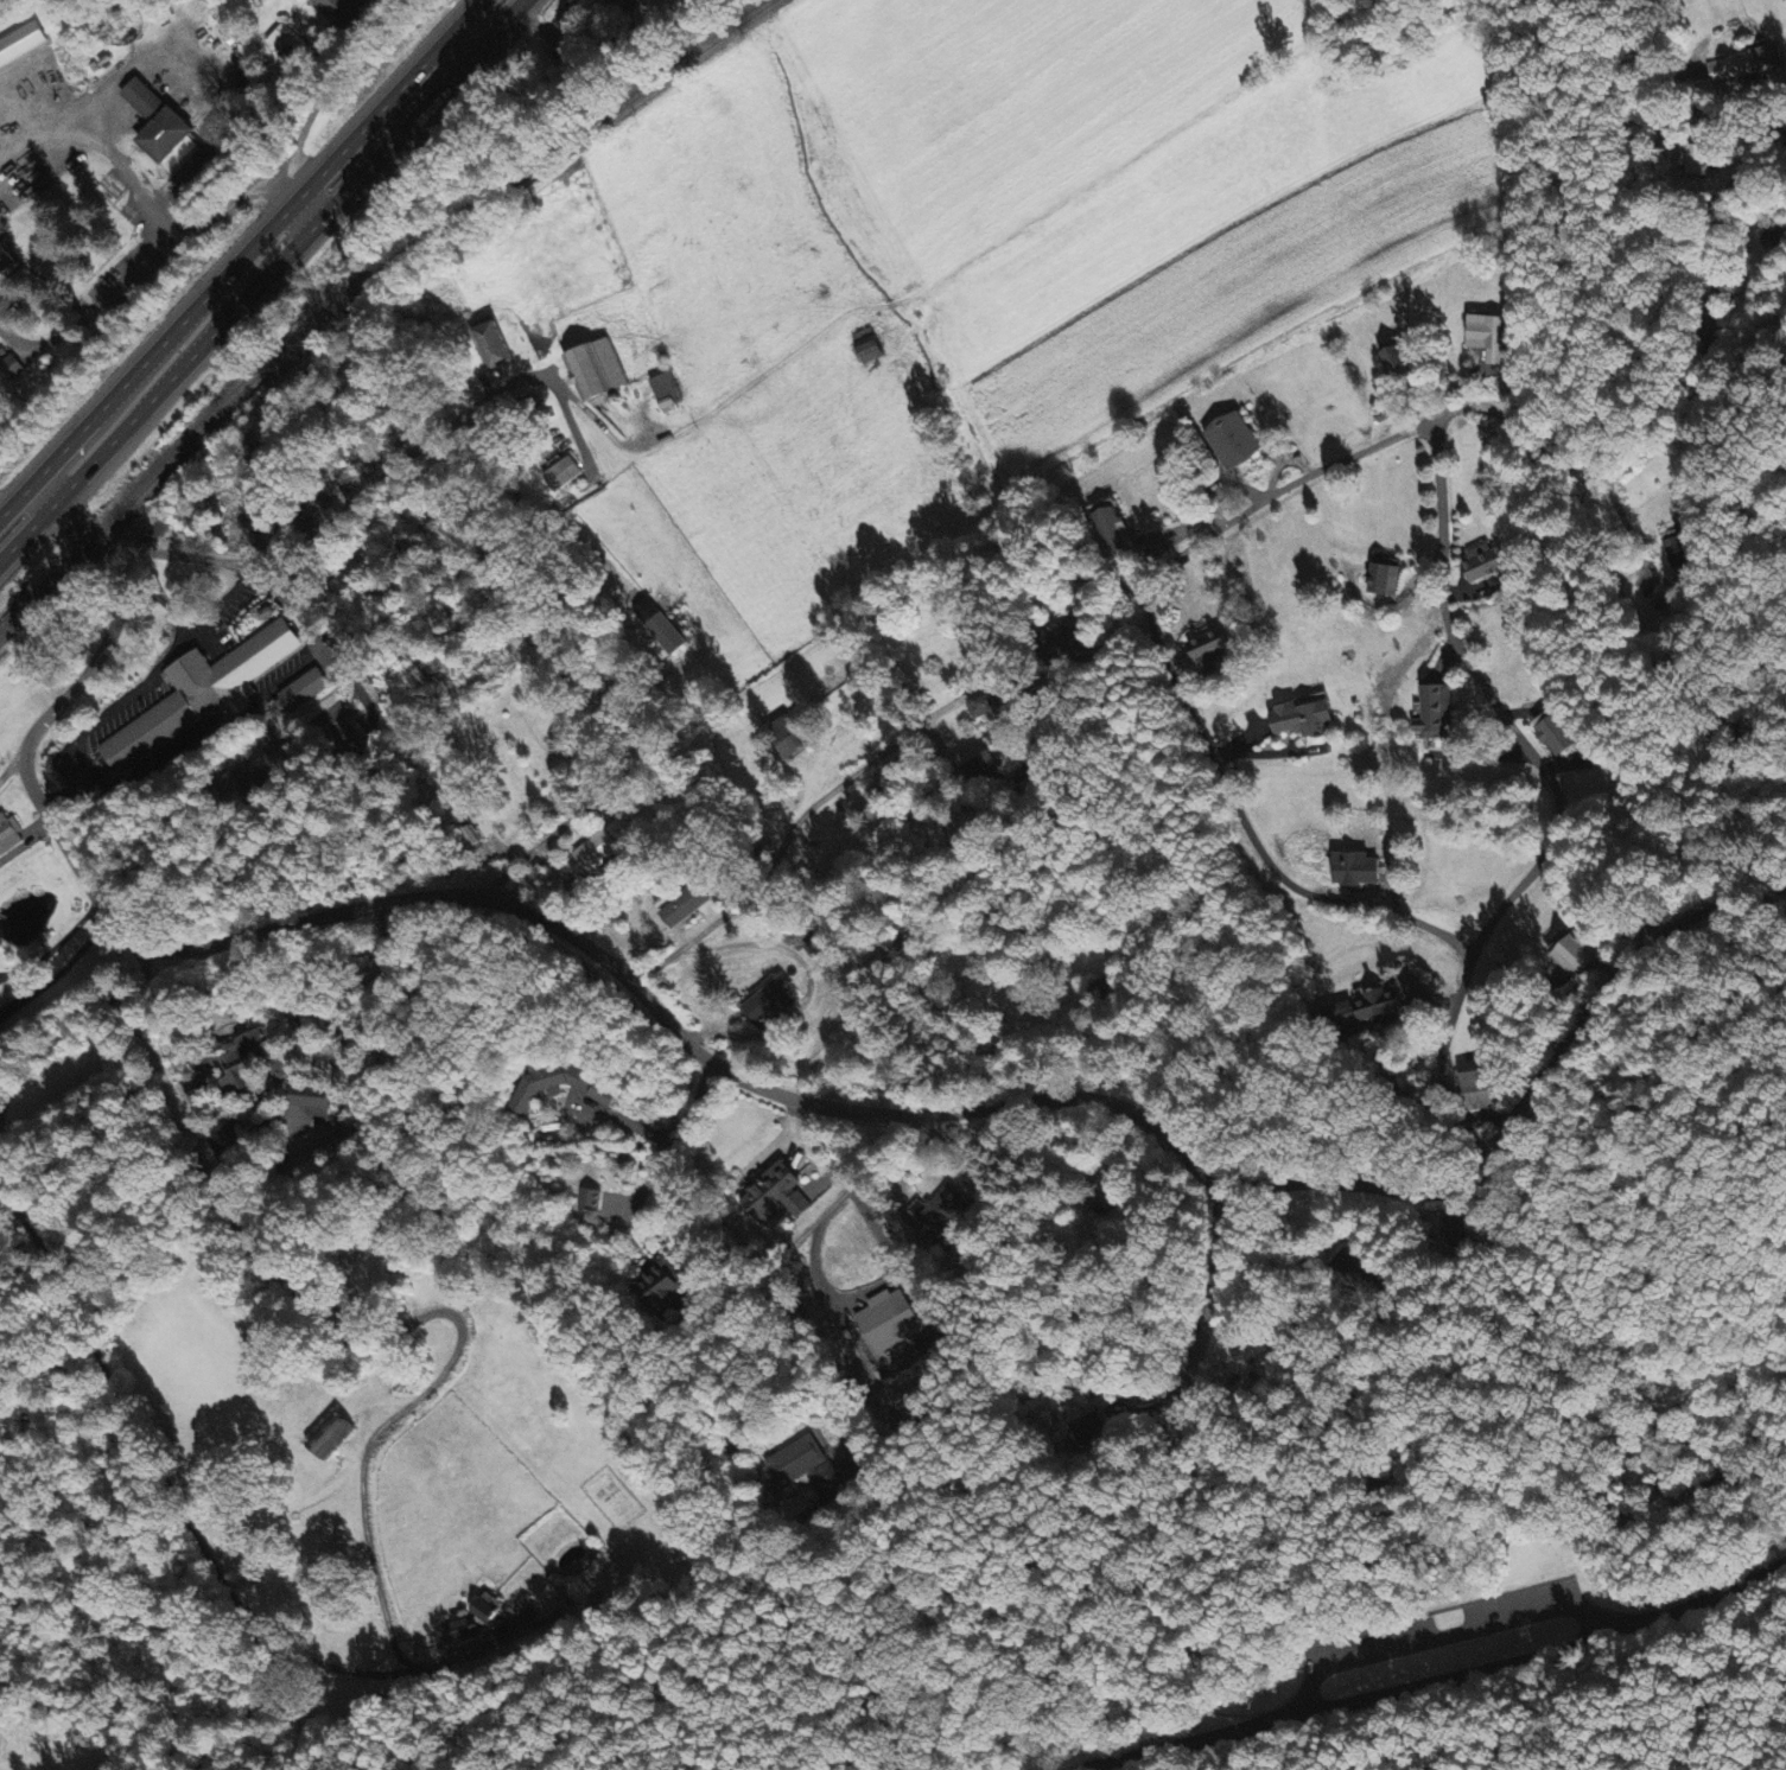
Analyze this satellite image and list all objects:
building: (298, 0)
building: (621, 4)
building: (332, 6)
building: (21, 45)
building: (287, 45)
building: (1743, 65)
building: (159, 125)
building: (1695, 163)
road: (1744, 165)
road: (163, 228)
road: (1699, 233)
road: (241, 259)
building: (6, 263)
road: (261, 280)
railway: (349, 294)
building: (1488, 338)
building: (494, 343)
building: (870, 346)
building: (1399, 362)
building: (598, 371)
building: (666, 391)
road: (1492, 406)
building: (1234, 441)
road: (406, 457)
building: (564, 475)
road: (2, 509)
road: (532, 511)
building: (1487, 564)
building: (1385, 580)
road: (117, 615)
building: (662, 628)
building: (1209, 647)
road: (1175, 680)
building: (205, 688)
building: (299, 688)
building: (991, 706)
building: (1436, 715)
building: (1305, 718)
building: (1556, 733)
building: (793, 734)
road: (11, 765)
building: (981, 768)
road: (1555, 792)
road: (789, 829)
building: (7, 830)
building: (602, 848)
building: (1358, 870)
building: (685, 908)
road: (1712, 910)
road: (56, 950)
building: (1575, 954)
road: (59, 978)
building: (773, 1004)
building: (0, 1012)
road: (693, 1045)
building: (234, 1055)
building: (1477, 1090)
building: (312, 1095)
road: (670, 1141)
road: (1479, 1165)
road: (847, 1185)
building: (776, 1197)
building: (586, 1201)
building: (943, 1211)
building: (889, 1323)
road: (371, 1327)
road: (818, 1352)
road: (1511, 1418)
building: (331, 1438)
building: (805, 1467)
building: (477, 1623)
parking lot: (1482, 1625)
parking lot: (1455, 1632)
road: (1444, 1635)
road: (1437, 1681)
road: (1778, 1765)

